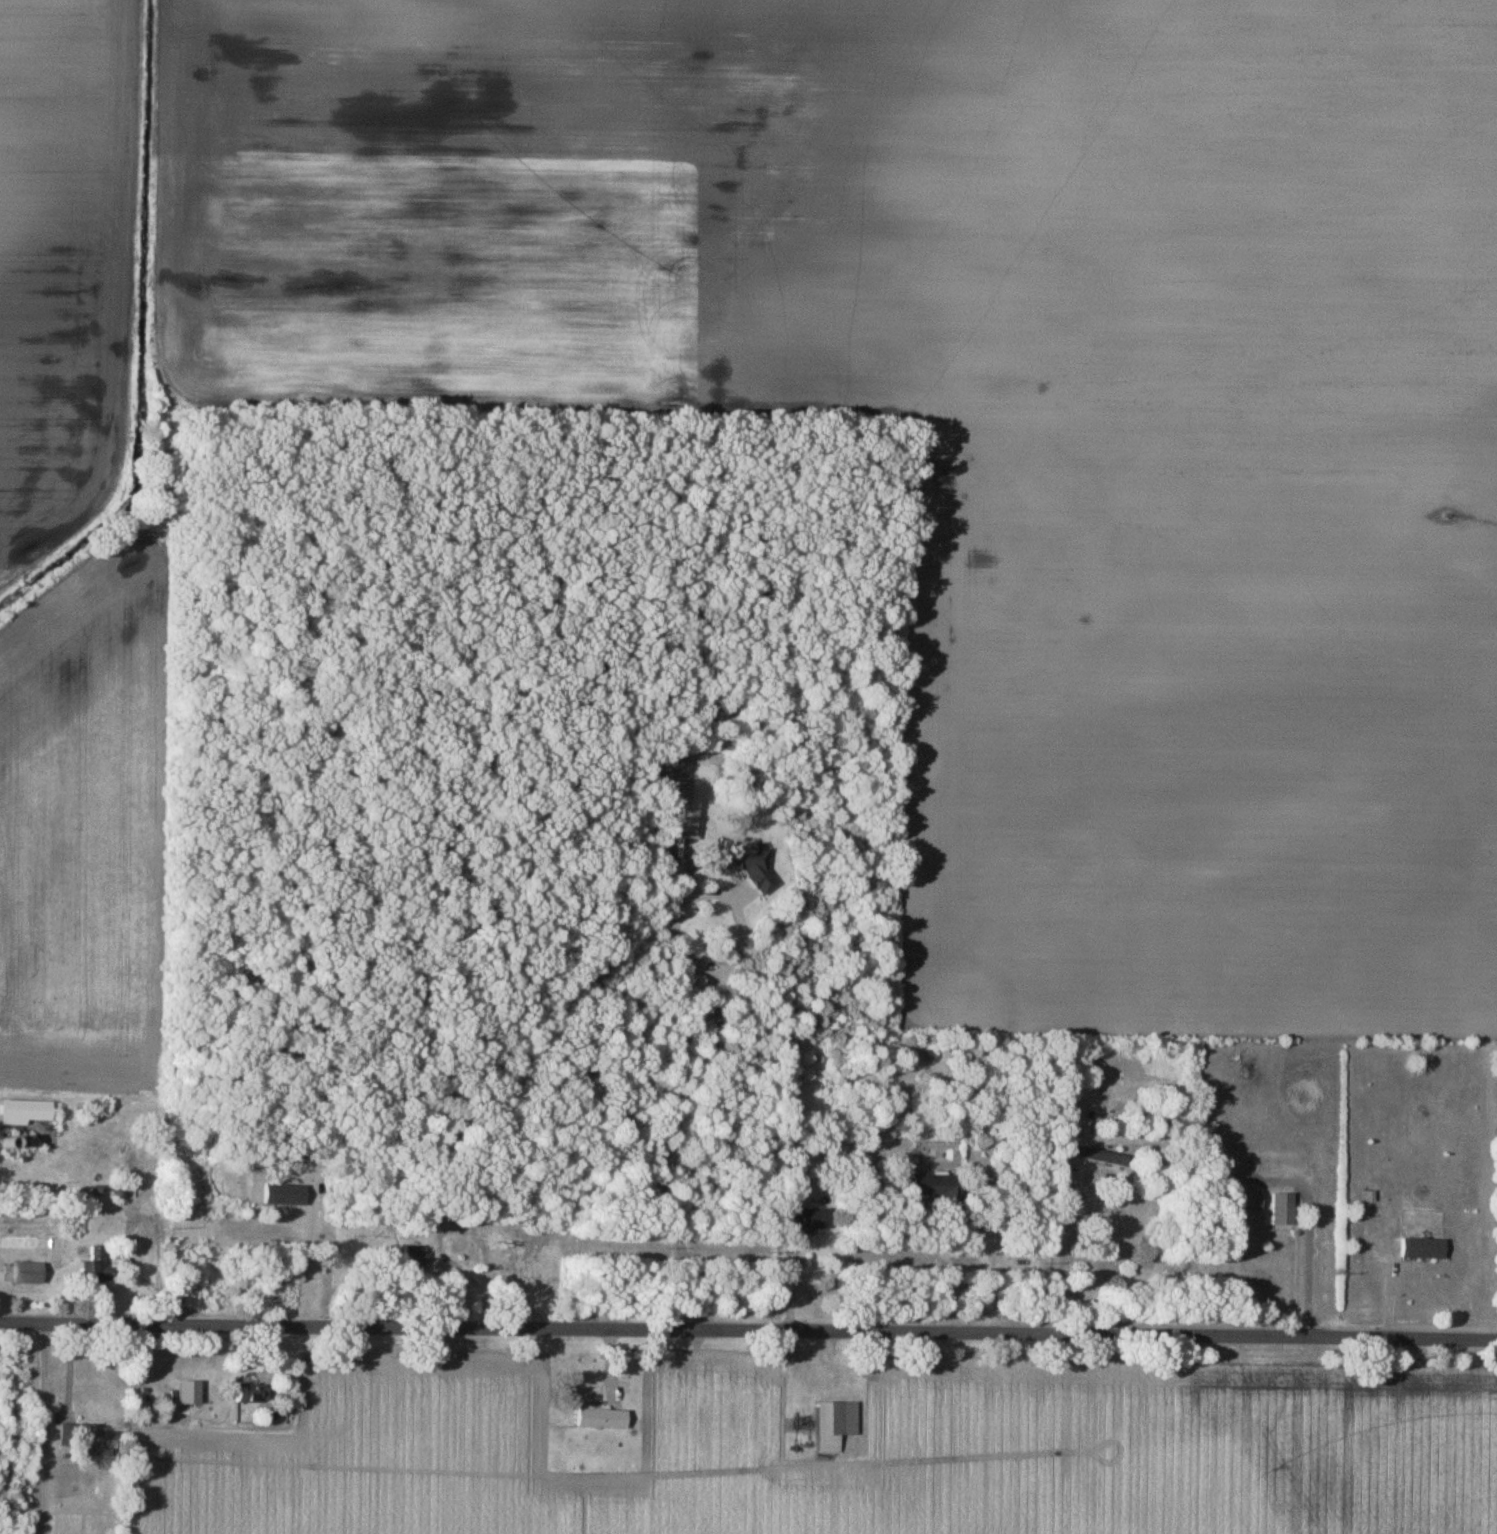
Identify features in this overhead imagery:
road: (708, 1041)
road: (978, 1246)
road: (310, 1259)
road: (1060, 1264)
road: (1302, 1264)
road: (748, 1333)
road: (44, 1427)

